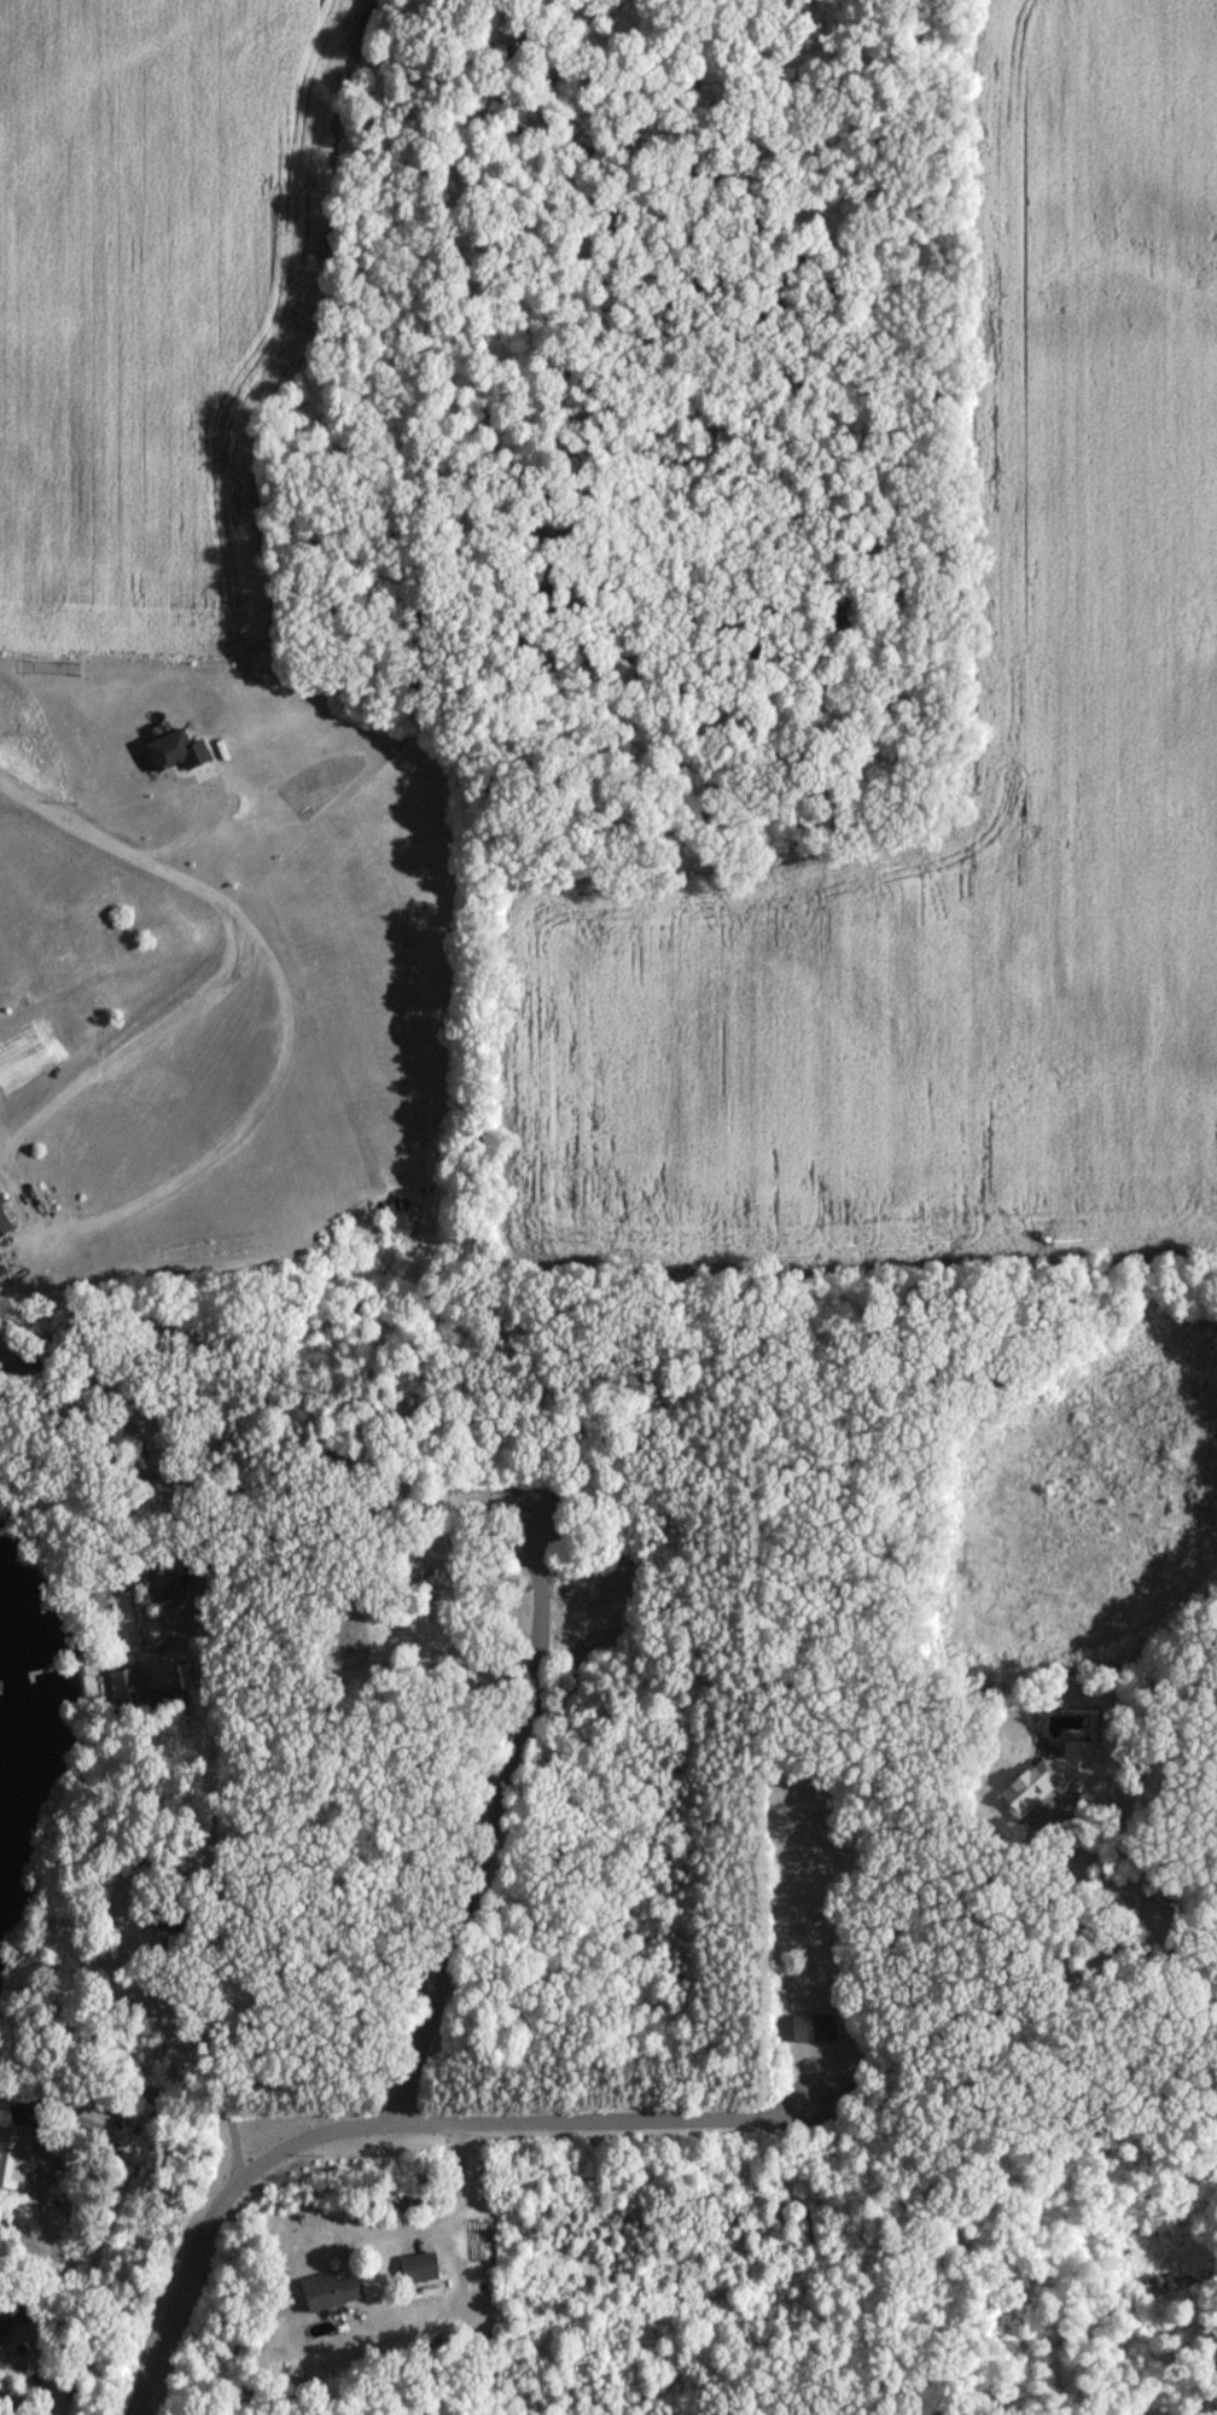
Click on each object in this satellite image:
building: (179, 756)
road: (112, 840)
road: (255, 1116)
building: (5, 1227)
road: (215, 1468)
road: (526, 1629)
building: (153, 1680)
building: (1027, 1787)
road: (1047, 1817)
building: (163, 1953)
road: (392, 2130)
building: (14, 2160)
road: (431, 2211)
building: (424, 2271)
road: (53, 2282)
building: (336, 2294)

